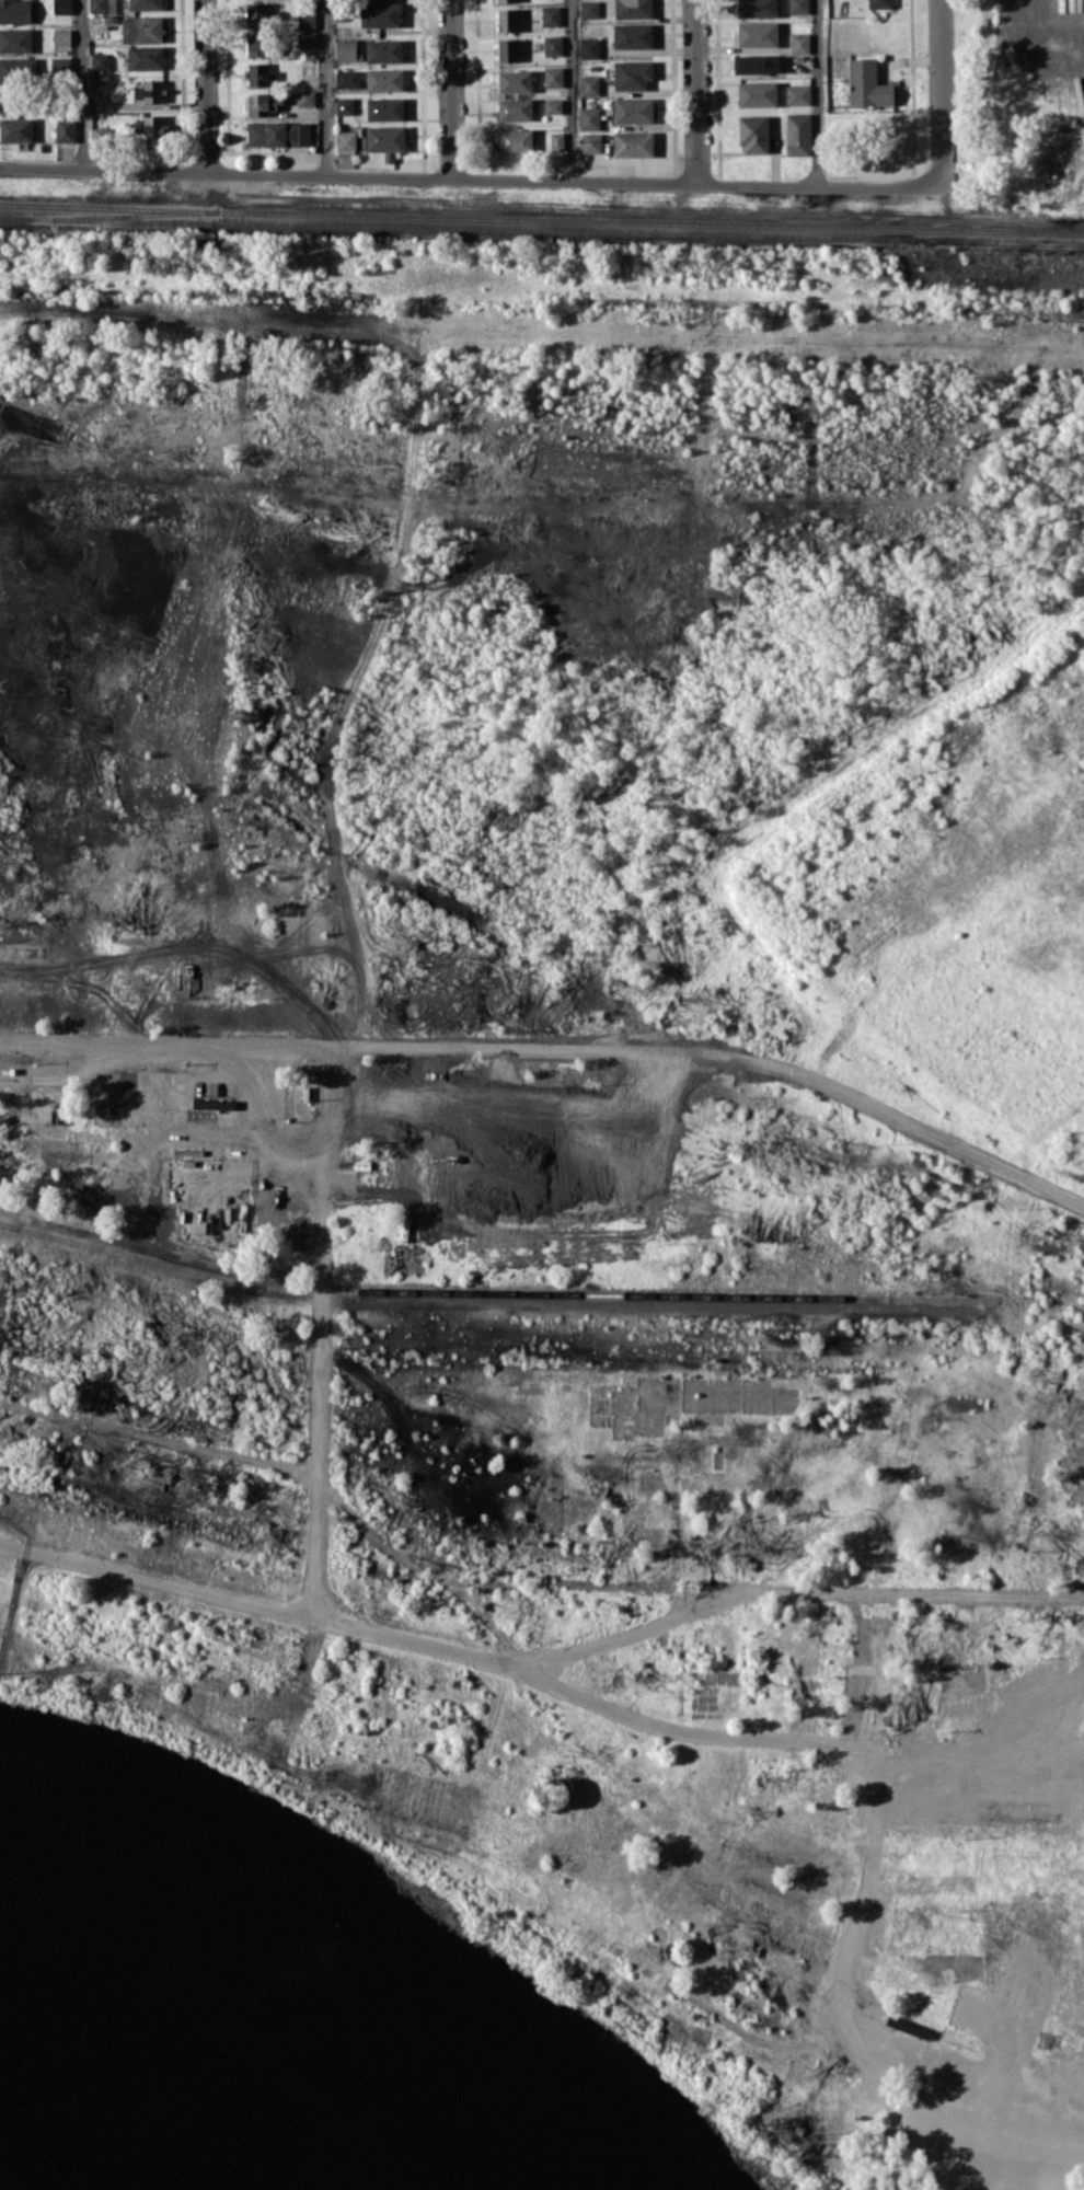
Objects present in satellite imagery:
building: (506, 0)
building: (878, 3)
building: (145, 4)
building: (97, 5)
building: (798, 5)
building: (61, 7)
building: (757, 8)
building: (589, 9)
building: (633, 9)
building: (14, 11)
building: (256, 14)
building: (380, 14)
building: (343, 15)
building: (550, 15)
building: (305, 16)
building: (507, 20)
building: (141, 28)
building: (757, 34)
building: (632, 35)
building: (61, 36)
building: (15, 39)
building: (305, 39)
building: (799, 43)
building: (256, 44)
building: (552, 45)
road: (1025, 46)
building: (589, 47)
building: (346, 49)
building: (507, 49)
building: (383, 50)
building: (145, 57)
building: (100, 60)
building: (756, 64)
building: (61, 66)
building: (18, 69)
building: (260, 74)
building: (632, 74)
building: (553, 77)
building: (347, 78)
building: (384, 79)
building: (515, 81)
road: (82, 84)
building: (588, 84)
building: (867, 84)
road: (206, 85)
road: (943, 87)
road: (325, 88)
road: (450, 89)
road: (573, 90)
building: (149, 91)
road: (696, 92)
building: (757, 93)
road: (816, 93)
building: (797, 94)
building: (304, 97)
building: (264, 103)
building: (344, 106)
building: (552, 106)
building: (384, 108)
building: (515, 109)
building: (632, 109)
building: (588, 118)
building: (153, 127)
building: (15, 129)
building: (65, 129)
building: (753, 132)
building: (278, 134)
building: (798, 134)
building: (99, 135)
building: (515, 139)
building: (345, 140)
building: (385, 140)
building: (556, 140)
building: (591, 142)
building: (633, 143)
road: (472, 178)
railway: (137, 215)
railway: (541, 219)
railway: (542, 230)
road: (354, 695)
landfill: (956, 897)
road: (557, 1049)
building: (214, 1104)
railway: (9, 1224)
railway: (495, 1292)
road: (319, 1328)
road: (297, 1472)
road: (539, 1659)
building: (555, 1793)
road: (866, 1825)
road: (565, 1925)
river: (357, 1940)
road: (1082, 2188)

